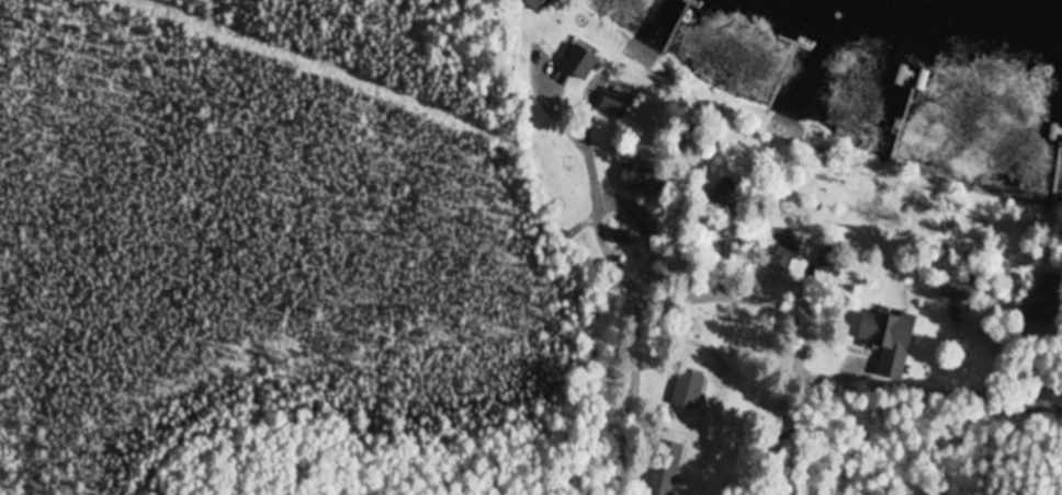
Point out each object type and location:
building: (535, 4)
building: (584, 58)
building: (615, 104)
building: (640, 179)
building: (723, 195)
building: (619, 239)
building: (782, 252)
building: (829, 264)
building: (956, 291)
building: (1044, 301)
road: (716, 309)
building: (889, 339)
building: (687, 392)
building: (664, 469)

